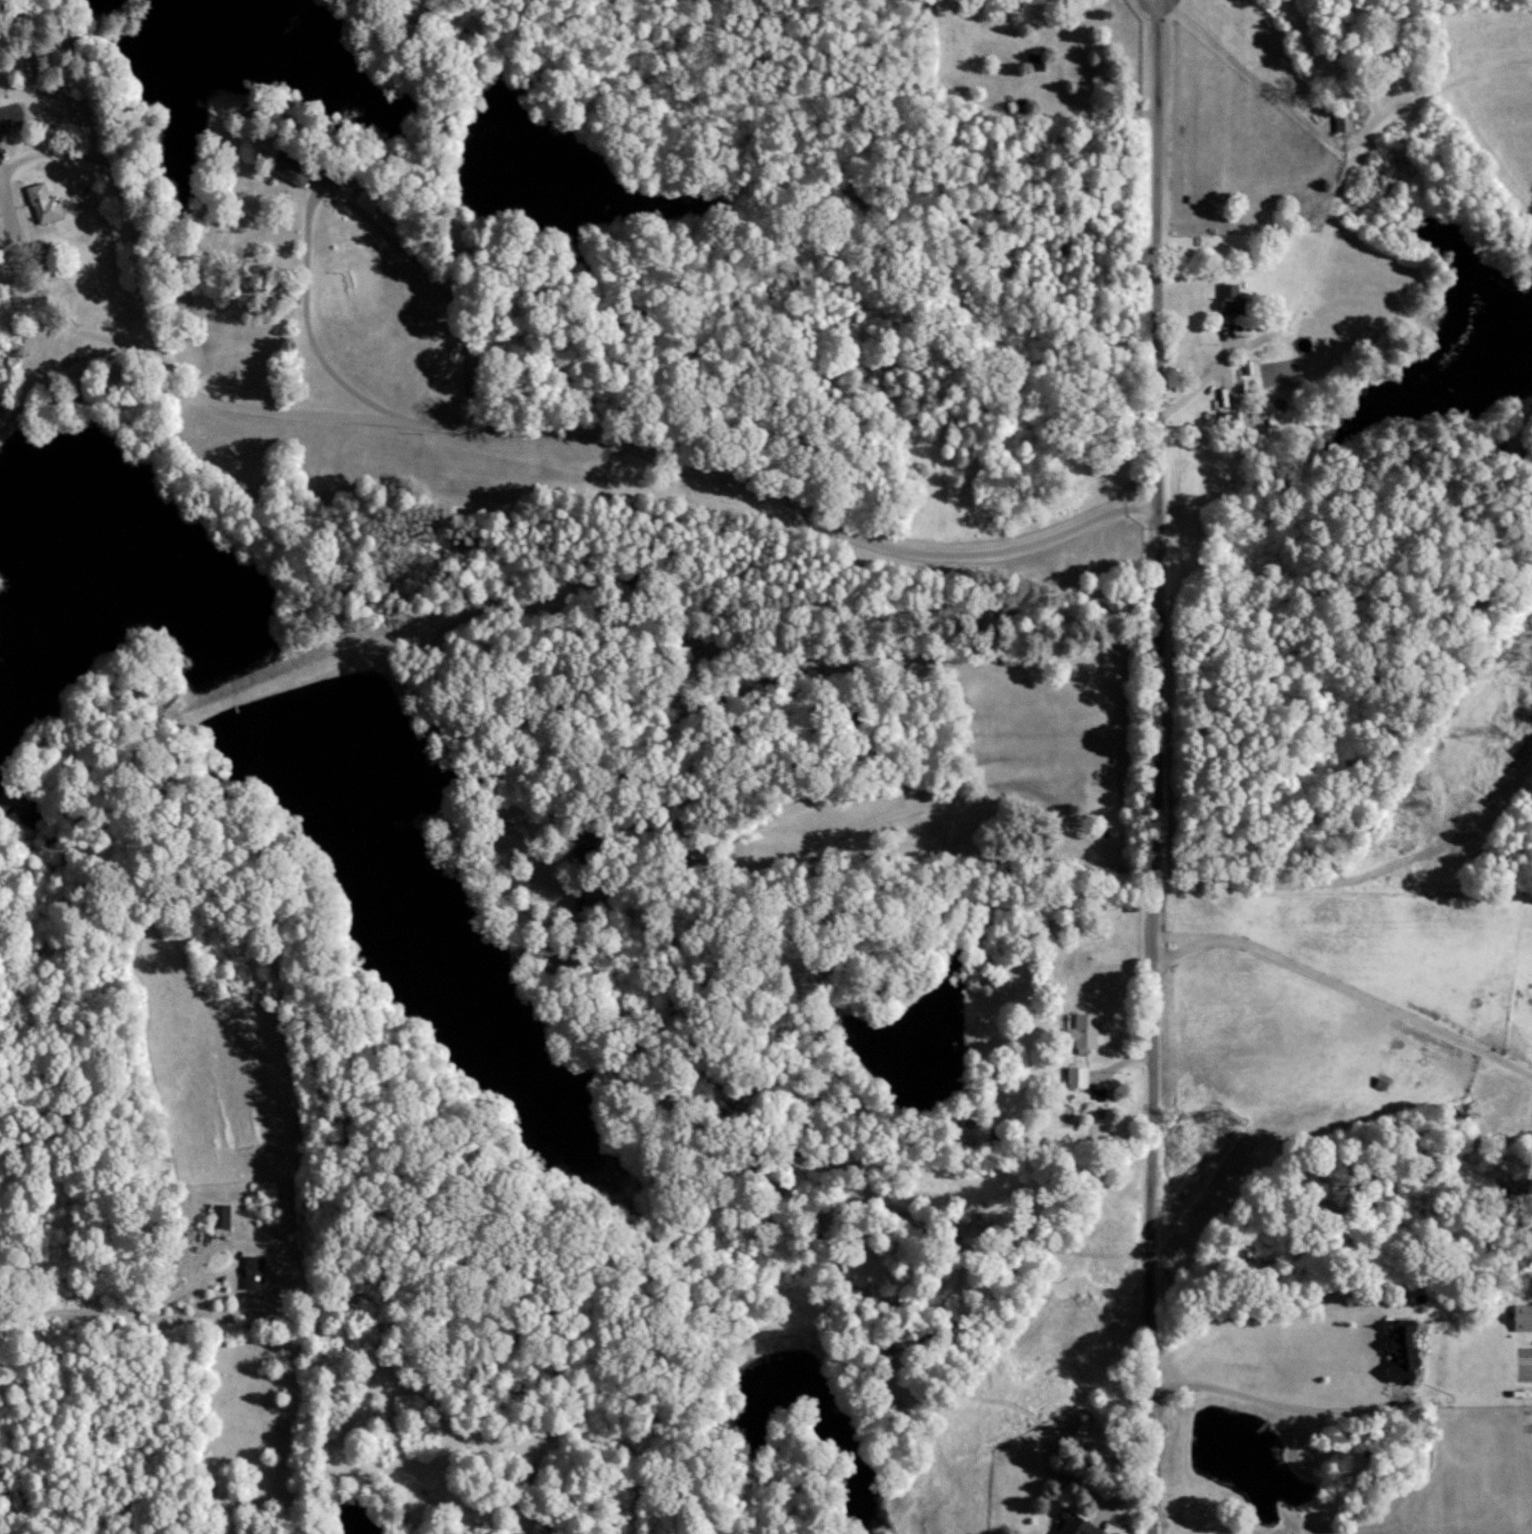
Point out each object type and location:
building: (1033, 60)
road: (1248, 72)
road: (122, 188)
building: (42, 202)
road: (434, 277)
building: (1226, 299)
road: (154, 360)
road: (1205, 370)
road: (41, 379)
building: (1233, 419)
road: (656, 446)
power tower: (1496, 735)
road: (1151, 767)
road: (855, 823)
road: (1345, 985)
building: (1080, 1030)
road: (1125, 1054)
building: (1074, 1077)
power tower: (1220, 1119)
building: (221, 1215)
building: (255, 1271)
road: (118, 1303)
building: (1520, 1316)
building: (1396, 1352)
road: (1275, 1404)
building: (1077, 1430)
road: (1056, 1436)
building: (1072, 1524)

